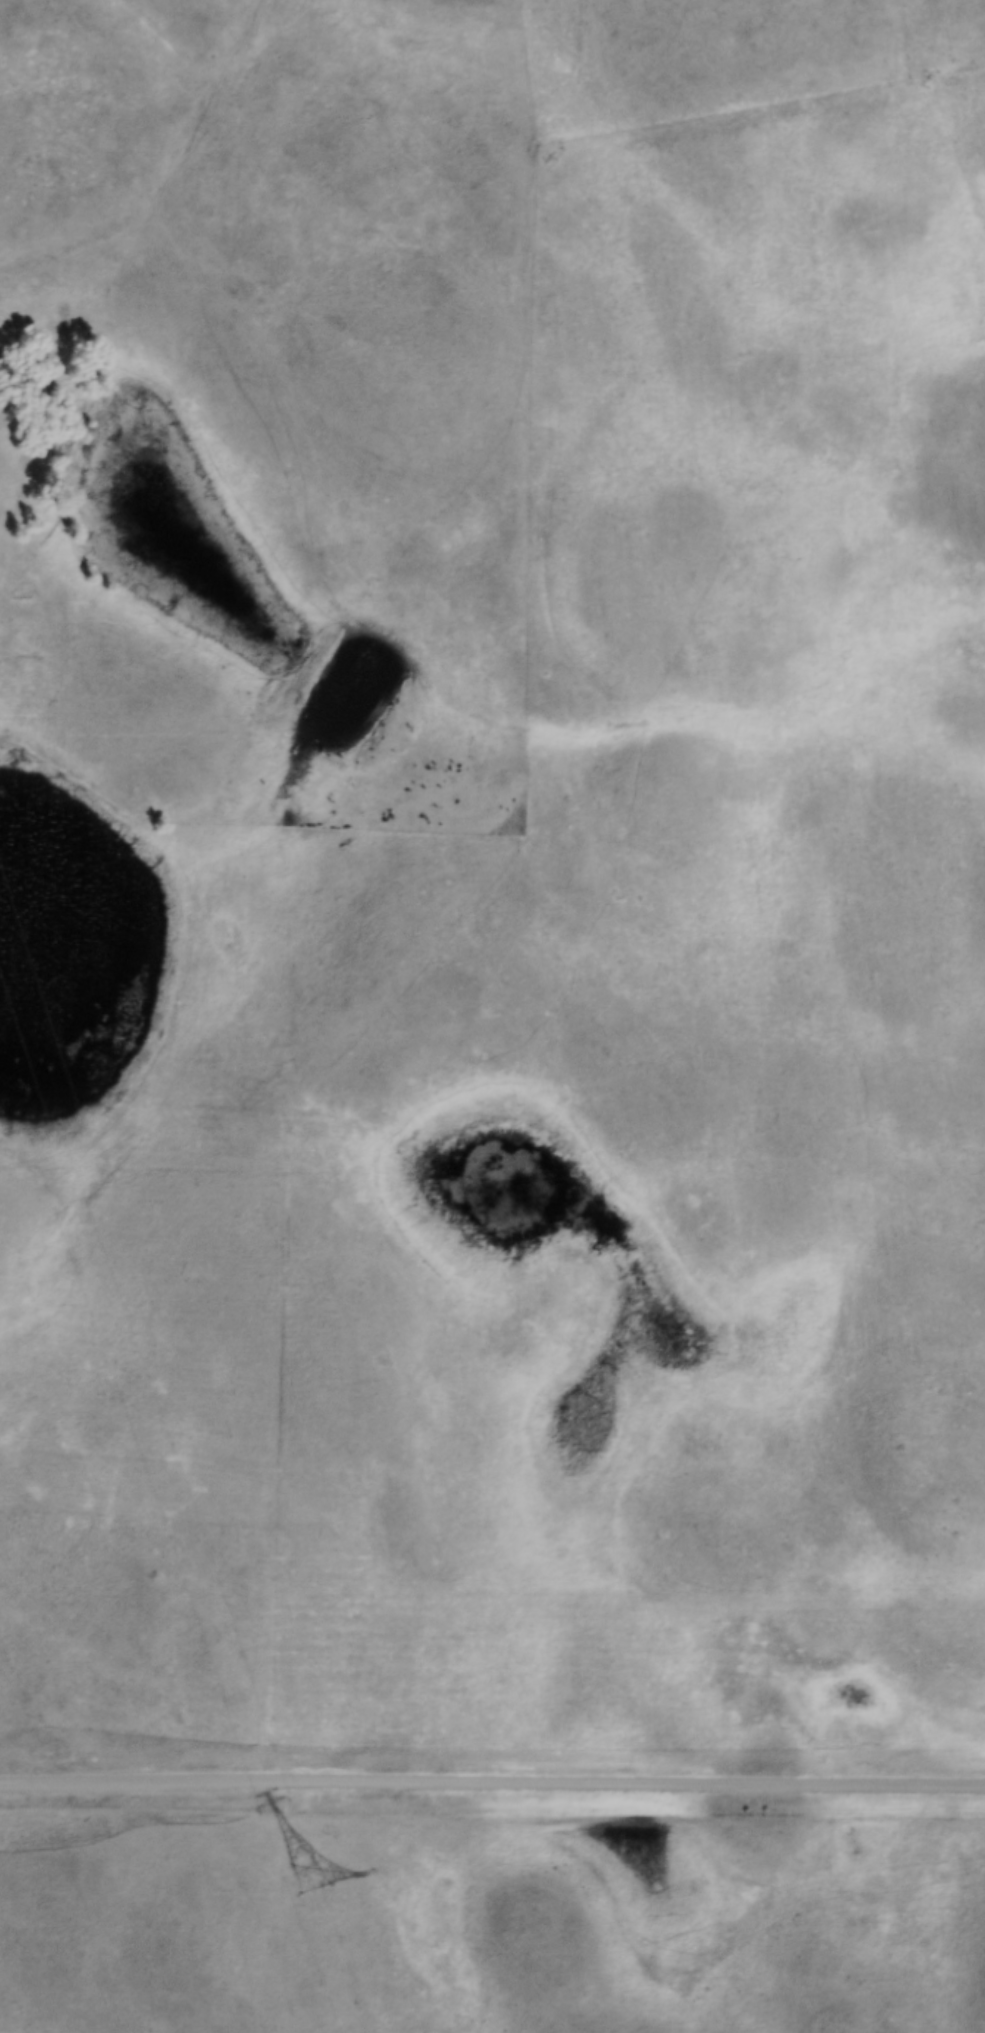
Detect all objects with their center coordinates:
road: (492, 1788)
power tower: (313, 1874)

